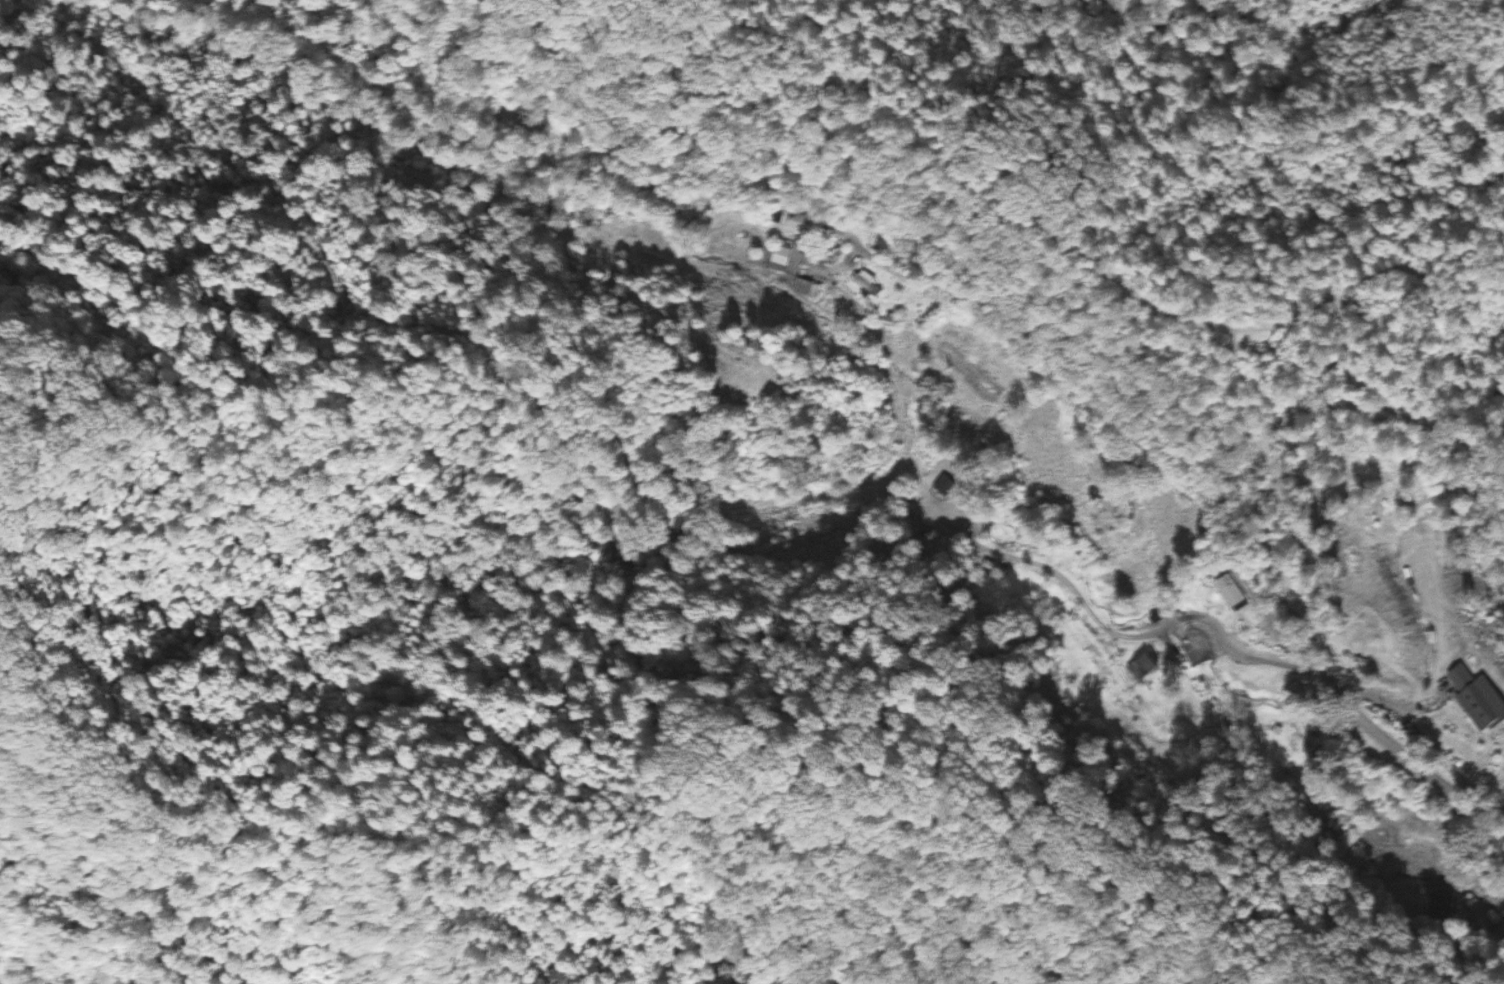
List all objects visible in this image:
building: (784, 256)
building: (811, 288)
road: (1195, 496)
building: (1228, 597)

